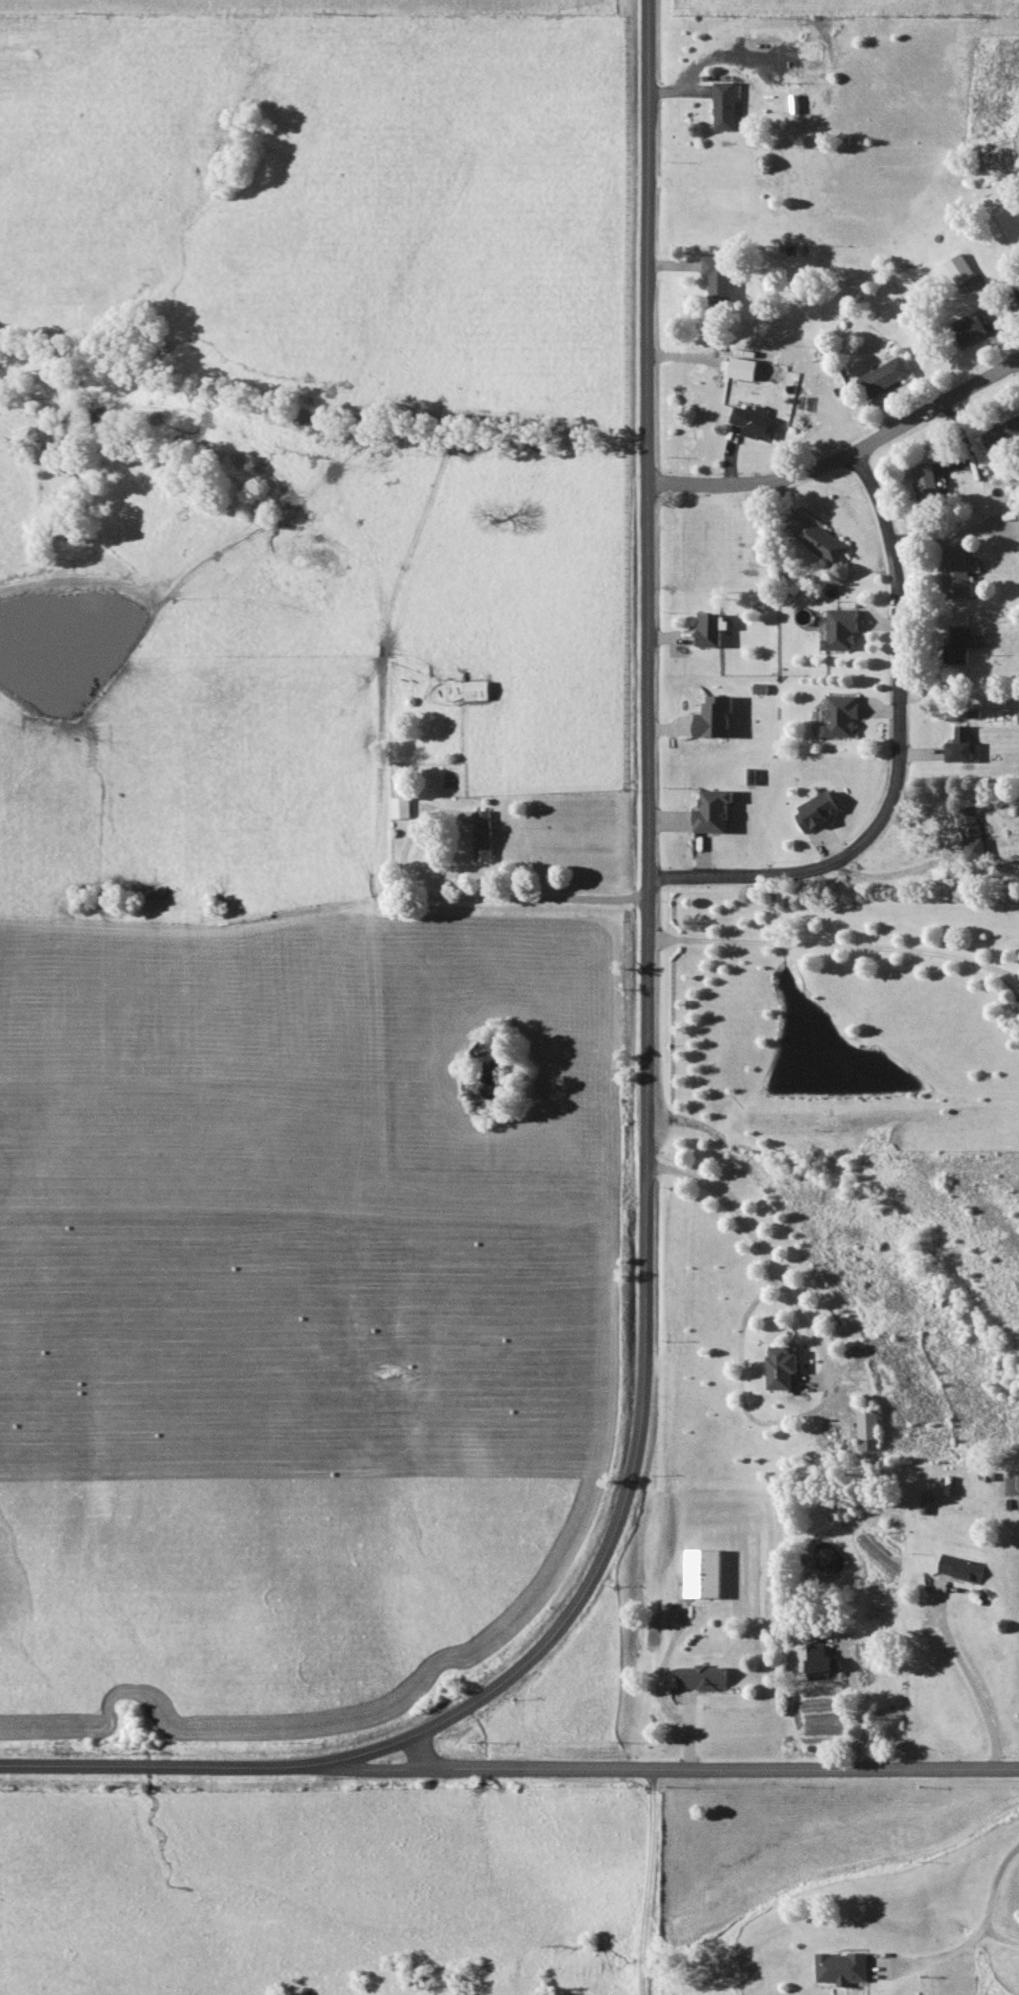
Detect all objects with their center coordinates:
building: (726, 105)
building: (960, 268)
building: (720, 278)
building: (970, 329)
building: (744, 368)
building: (887, 375)
building: (757, 421)
building: (1003, 434)
road: (846, 456)
building: (927, 480)
building: (822, 540)
building: (959, 572)
building: (841, 628)
building: (710, 629)
building: (963, 644)
building: (841, 715)
building: (715, 716)
building: (961, 745)
road: (905, 756)
building: (747, 775)
building: (402, 806)
building: (714, 811)
building: (816, 811)
building: (973, 832)
building: (485, 835)
road: (897, 873)
road: (489, 898)
road: (838, 945)
road: (652, 966)
road: (828, 1364)
building: (782, 1366)
building: (869, 1430)
building: (962, 1566)
building: (704, 1573)
building: (821, 1661)
building: (702, 1677)
road: (971, 1683)
road: (656, 1693)
road: (861, 1711)
road: (160, 1765)
road: (669, 1768)
road: (660, 1881)
road: (979, 1922)
building: (840, 1967)

